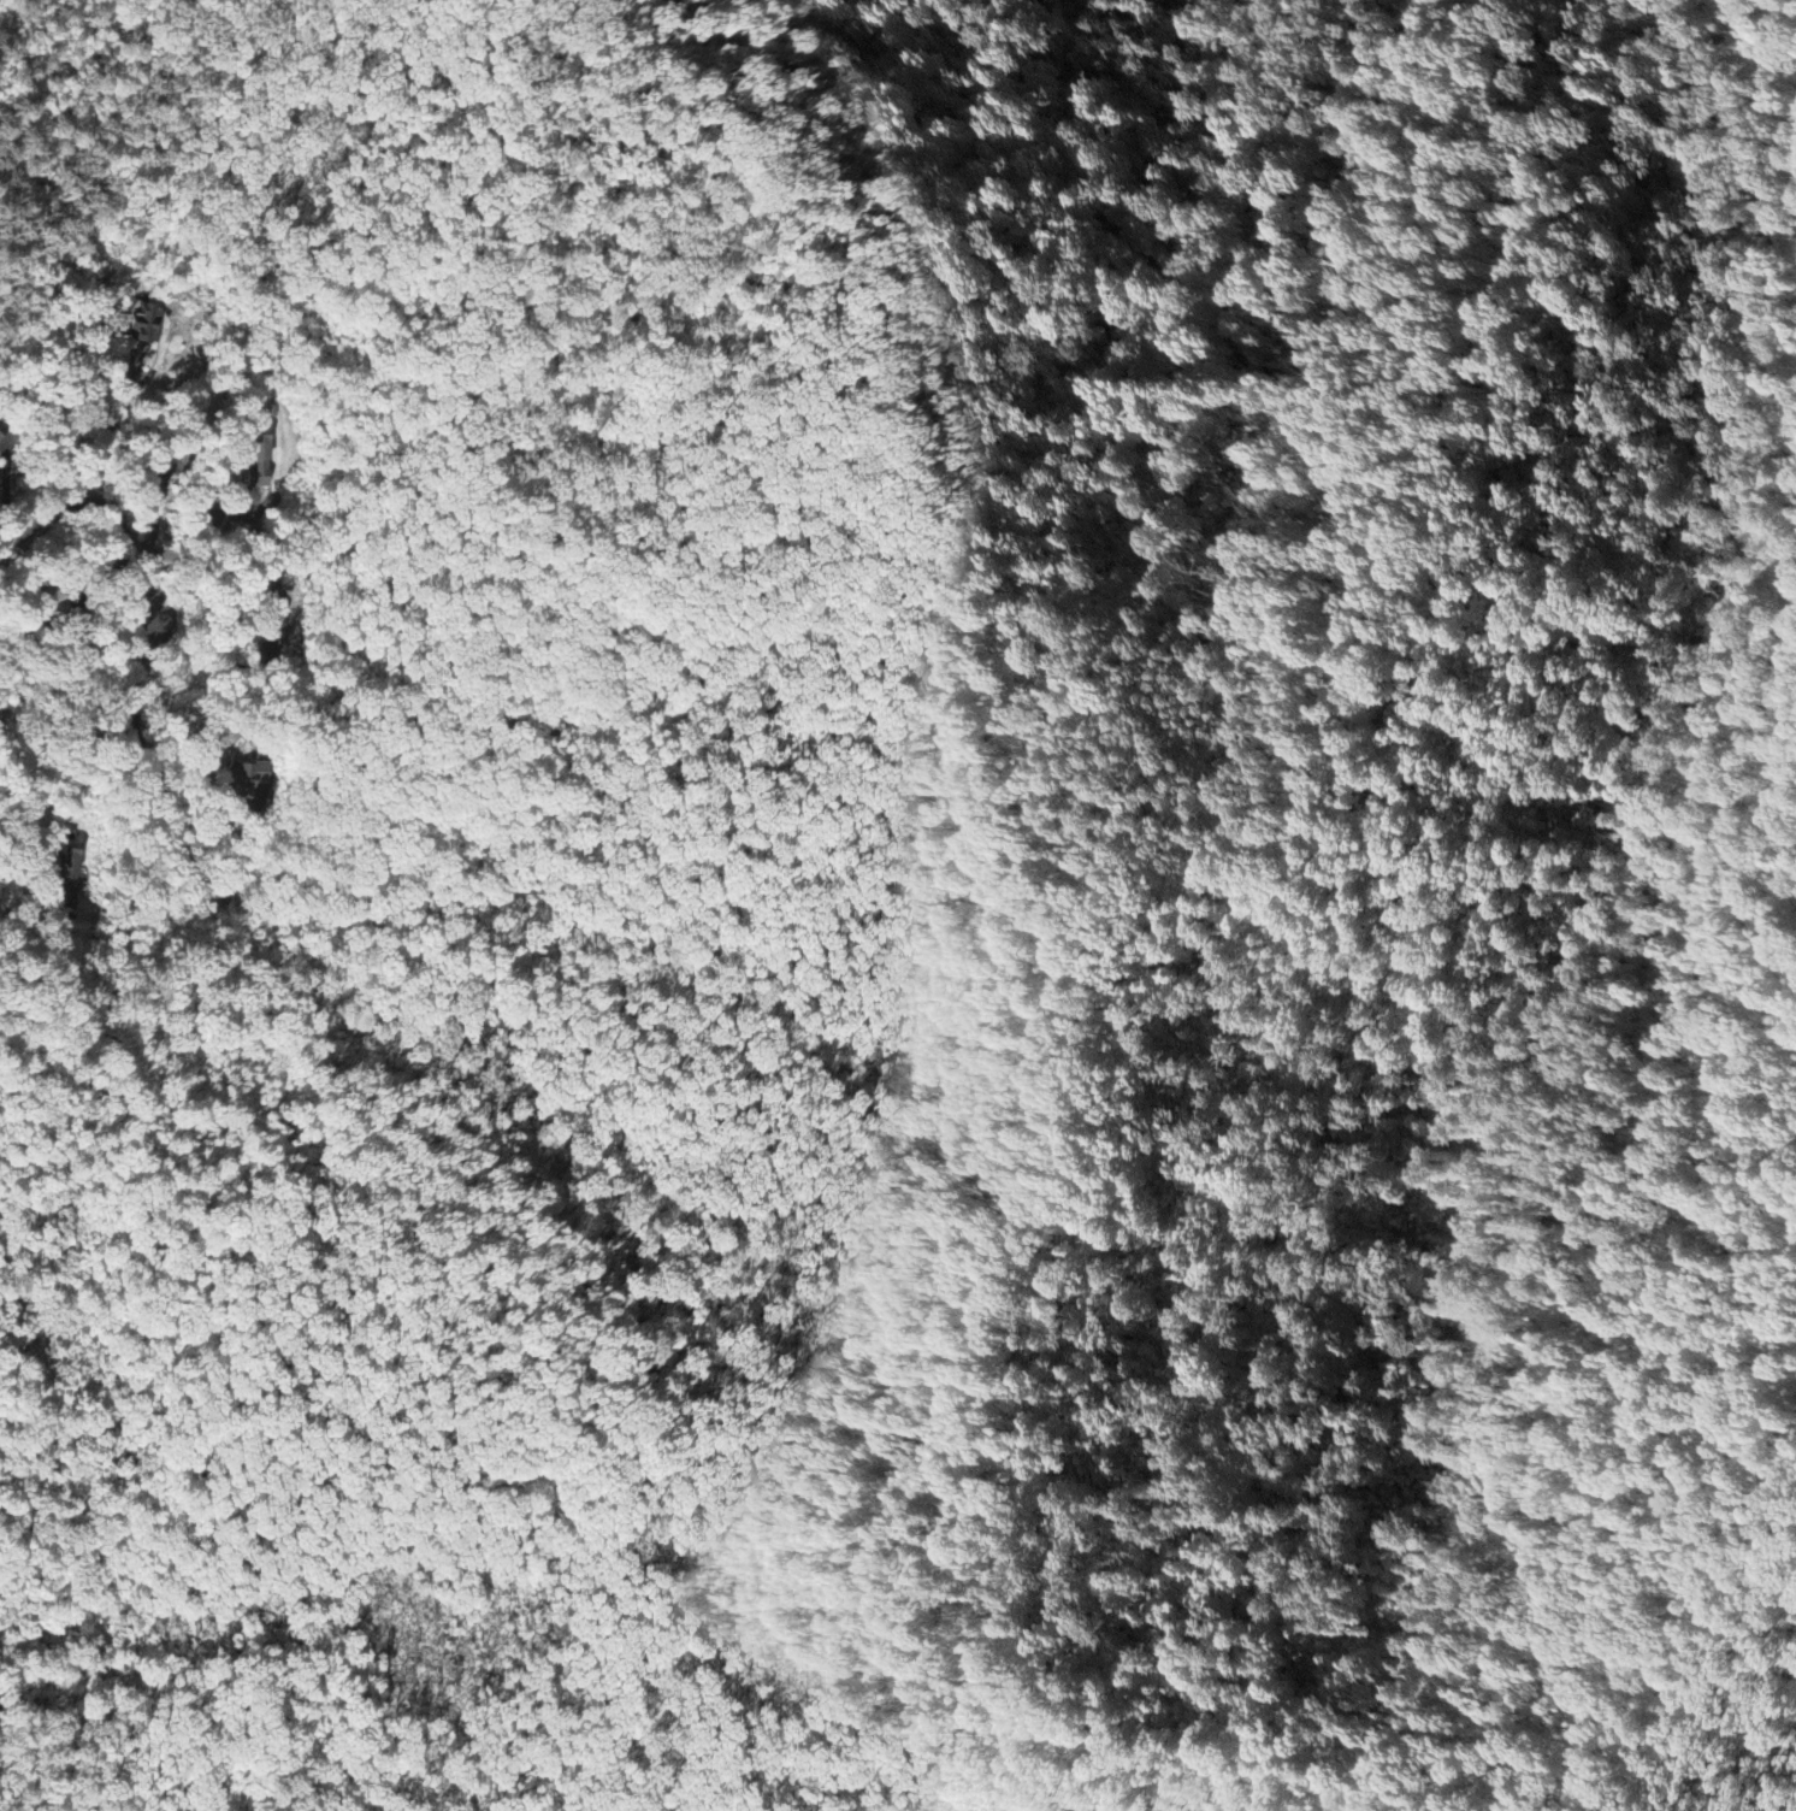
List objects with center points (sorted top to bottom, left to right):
road: (96, 449)
road: (166, 476)
road: (104, 519)
road: (17, 814)
road: (178, 826)

